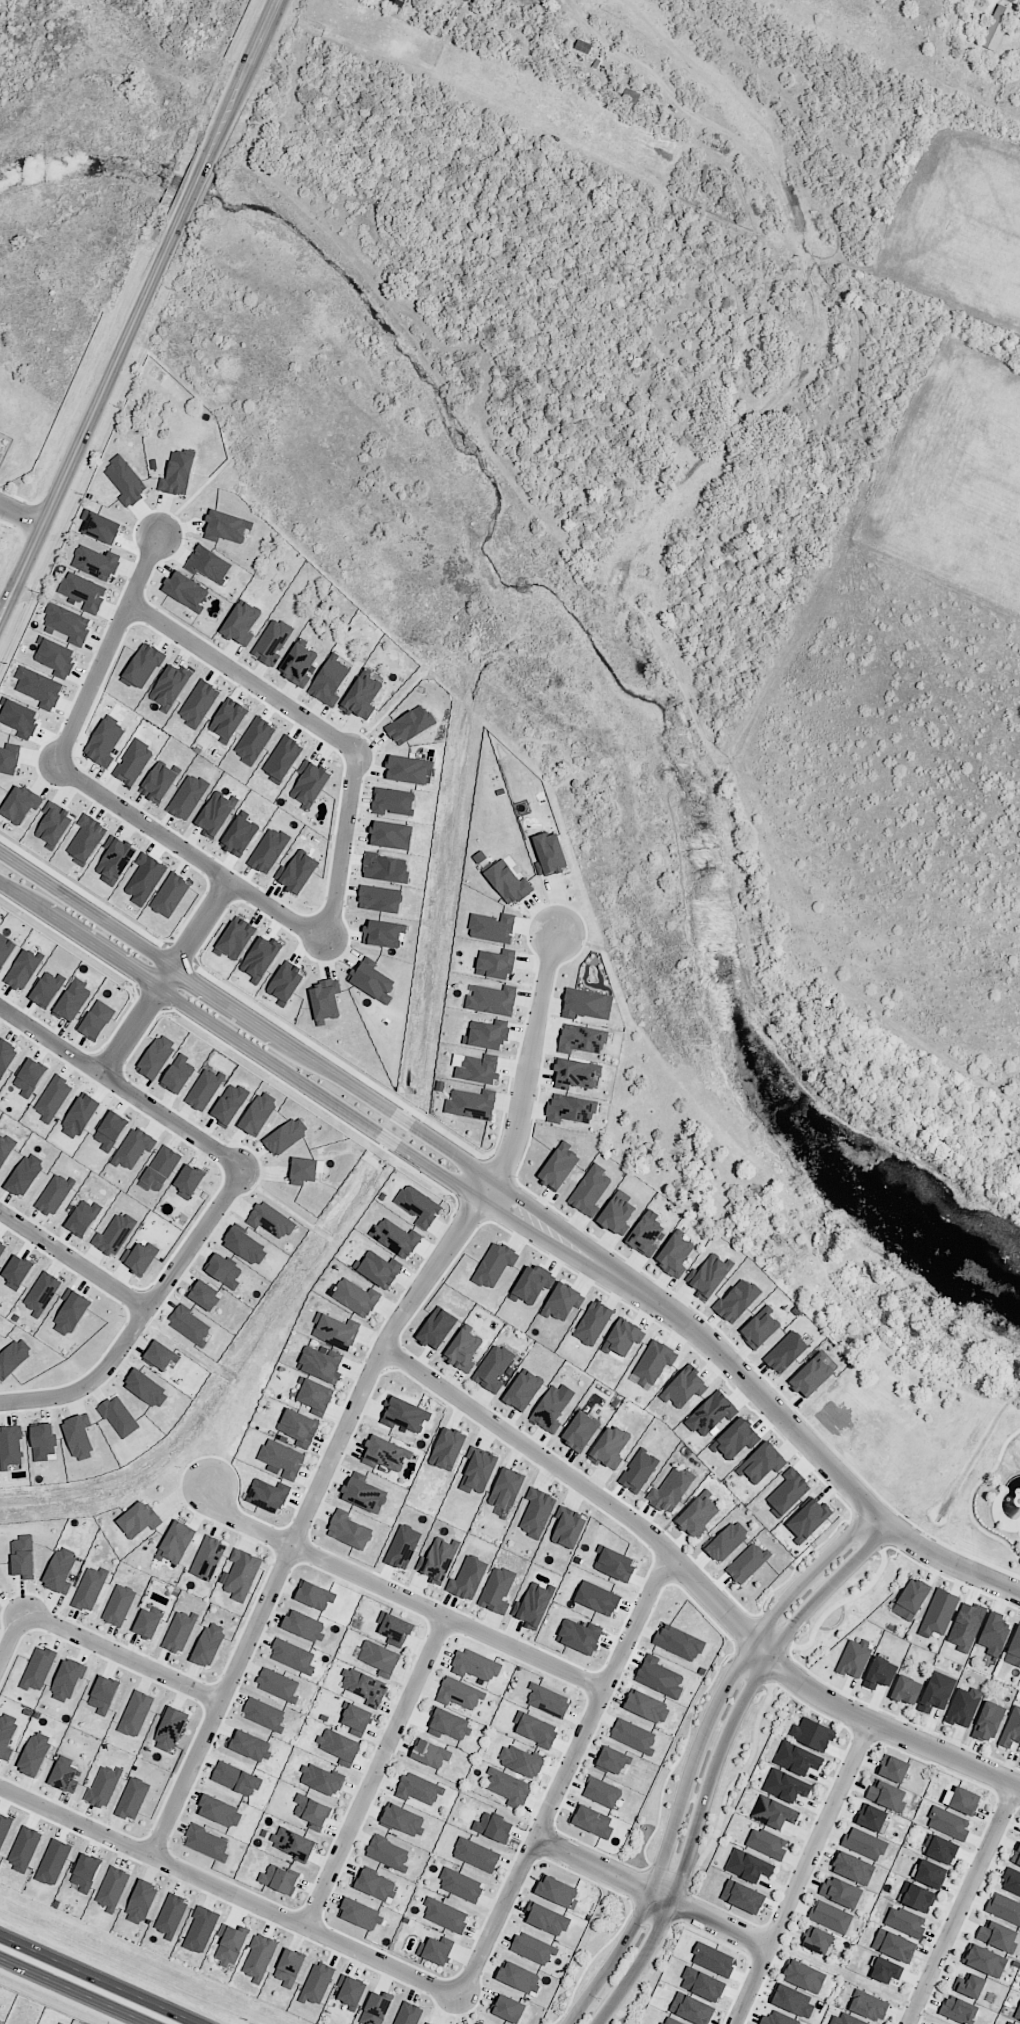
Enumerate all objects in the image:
building: (397, 3)
building: (996, 27)
building: (582, 46)
building: (630, 98)
road: (139, 310)
building: (177, 474)
building: (125, 481)
road: (21, 514)
building: (100, 526)
building: (226, 527)
building: (96, 562)
building: (209, 564)
building: (185, 590)
building: (83, 592)
building: (67, 623)
building: (242, 623)
building: (272, 642)
road: (107, 648)
building: (55, 656)
building: (298, 664)
building: (142, 666)
road: (244, 677)
building: (329, 680)
building: (39, 687)
building: (169, 687)
building: (361, 697)
building: (198, 703)
building: (20, 718)
building: (229, 719)
building: (408, 725)
building: (254, 740)
building: (104, 743)
building: (282, 759)
building: (8, 760)
building: (133, 762)
building: (406, 769)
building: (158, 782)
building: (309, 783)
building: (187, 797)
building: (393, 801)
building: (20, 804)
building: (215, 815)
building: (54, 824)
building: (391, 835)
building: (239, 836)
building: (86, 839)
building: (268, 850)
road: (345, 852)
building: (549, 854)
road: (193, 857)
building: (115, 859)
building: (385, 868)
building: (297, 872)
building: (145, 878)
building: (508, 882)
building: (170, 895)
building: (379, 898)
building: (492, 928)
building: (382, 933)
building: (236, 938)
building: (6, 949)
building: (260, 958)
building: (495, 964)
building: (22, 970)
road: (166, 977)
building: (371, 981)
building: (285, 983)
building: (47, 988)
building: (72, 1000)
building: (325, 1000)
building: (493, 1000)
building: (586, 1004)
building: (96, 1020)
building: (485, 1035)
building: (582, 1038)
building: (6, 1056)
building: (156, 1056)
building: (477, 1070)
building: (178, 1074)
building: (574, 1074)
building: (29, 1078)
road: (123, 1086)
building: (204, 1089)
building: (53, 1098)
building: (471, 1103)
building: (229, 1104)
building: (570, 1109)
building: (258, 1113)
building: (79, 1116)
building: (110, 1131)
building: (286, 1135)
building: (133, 1148)
building: (4, 1151)
building: (558, 1166)
building: (160, 1169)
building: (303, 1170)
building: (25, 1174)
building: (189, 1181)
building: (590, 1190)
building: (54, 1194)
building: (418, 1206)
building: (617, 1213)
road: (524, 1214)
building: (83, 1217)
building: (270, 1220)
building: (114, 1234)
building: (646, 1234)
building: (395, 1237)
building: (2, 1246)
building: (245, 1246)
building: (674, 1255)
building: (139, 1257)
road: (75, 1261)
building: (494, 1264)
building: (378, 1269)
building: (223, 1270)
building: (17, 1271)
building: (709, 1275)
building: (532, 1283)
building: (41, 1293)
building: (203, 1294)
building: (356, 1297)
building: (563, 1301)
building: (735, 1301)
building: (70, 1312)
road: (145, 1318)
building: (592, 1323)
building: (190, 1325)
building: (760, 1327)
building: (437, 1328)
building: (623, 1337)
building: (463, 1350)
building: (785, 1352)
building: (161, 1355)
building: (13, 1357)
building: (653, 1362)
building: (320, 1363)
building: (493, 1368)
building: (810, 1377)
building: (685, 1388)
building: (147, 1389)
building: (522, 1390)
road: (361, 1393)
building: (314, 1394)
building: (550, 1409)
building: (405, 1413)
building: (711, 1414)
building: (119, 1417)
building: (299, 1427)
building: (580, 1431)
building: (78, 1438)
building: (43, 1439)
building: (736, 1439)
building: (11, 1445)
building: (609, 1448)
building: (447, 1449)
building: (384, 1454)
building: (282, 1458)
building: (761, 1463)
building: (638, 1470)
building: (478, 1471)
building: (506, 1488)
building: (670, 1491)
building: (788, 1492)
building: (363, 1493)
building: (268, 1495)
building: (698, 1514)
building: (139, 1520)
building: (807, 1520)
building: (568, 1527)
building: (349, 1530)
building: (727, 1541)
building: (175, 1543)
building: (402, 1547)
building: (23, 1556)
building: (207, 1558)
building: (436, 1560)
building: (747, 1563)
building: (615, 1564)
building: (60, 1571)
building: (241, 1574)
building: (467, 1578)
road: (696, 1579)
building: (89, 1588)
building: (497, 1590)
road: (399, 1593)
building: (314, 1595)
building: (597, 1598)
building: (911, 1599)
building: (119, 1605)
building: (531, 1606)
building: (939, 1612)
building: (147, 1623)
building: (303, 1625)
building: (966, 1626)
building: (394, 1629)
building: (179, 1632)
building: (994, 1634)
road: (11, 1635)
building: (578, 1637)
building: (679, 1642)
building: (209, 1644)
building: (1014, 1649)
road: (122, 1656)
building: (292, 1656)
building: (378, 1657)
building: (854, 1658)
building: (475, 1664)
building: (38, 1668)
building: (880, 1673)
building: (659, 1677)
building: (67, 1680)
building: (364, 1684)
building: (277, 1685)
building: (906, 1690)
building: (936, 1692)
building: (459, 1693)
building: (103, 1695)
building: (547, 1700)
building: (647, 1706)
building: (962, 1708)
building: (135, 1713)
building: (264, 1714)
building: (357, 1719)
building: (988, 1721)
building: (449, 1724)
building: (1011, 1728)
building: (170, 1729)
building: (534, 1729)
building: (6, 1734)
building: (812, 1734)
building: (633, 1736)
building: (249, 1746)
building: (339, 1746)
road: (695, 1750)
building: (35, 1753)
building: (430, 1753)
road: (715, 1757)
building: (797, 1758)
building: (612, 1760)
building: (520, 1761)
building: (893, 1768)
road: (375, 1771)
road: (564, 1773)
building: (65, 1777)
building: (236, 1779)
building: (321, 1779)
building: (104, 1786)
building: (786, 1786)
building: (508, 1787)
building: (418, 1788)
building: (601, 1792)
building: (887, 1795)
building: (132, 1798)
building: (962, 1800)
building: (220, 1811)
building: (312, 1811)
building: (773, 1812)
building: (871, 1817)
building: (403, 1820)
building: (592, 1821)
building: (948, 1822)
building: (492, 1827)
building: (4, 1829)
building: (207, 1843)
building: (292, 1843)
building: (767, 1843)
building: (864, 1843)
building: (24, 1848)
building: (942, 1850)
building: (388, 1853)
building: (476, 1855)
building: (1016, 1855)
building: (53, 1862)
building: (748, 1866)
building: (852, 1868)
building: (85, 1873)
road: (802, 1873)
building: (930, 1874)
building: (278, 1879)
building: (1011, 1881)
building: (374, 1884)
building: (461, 1885)
building: (112, 1888)
building: (556, 1891)
road: (229, 1892)
building: (840, 1892)
road: (651, 1893)
building: (917, 1897)
building: (141, 1902)
road: (962, 1904)
building: (1004, 1907)
building: (170, 1914)
building: (360, 1914)
building: (445, 1915)
building: (830, 1916)
building: (548, 1919)
building: (905, 1920)
building: (200, 1930)
building: (998, 1936)
building: (816, 1940)
building: (230, 1945)
building: (894, 1945)
building: (532, 1948)
building: (435, 1951)
building: (259, 1957)
building: (984, 1960)
building: (289, 1968)
building: (886, 1970)
building: (804, 1976)
building: (519, 1977)
building: (317, 1983)
building: (702, 1984)
road: (86, 1985)
building: (969, 1985)
building: (349, 1990)
building: (869, 2005)
building: (508, 2008)
building: (691, 2008)
building: (375, 2009)
building: (958, 2010)
building: (408, 2014)
building: (1017, 2014)
building: (779, 2019)
building: (851, 2020)
building: (670, 2021)
building: (0, 2022)
building: (427, 2023)
building: (482, 2023)
building: (934, 2023)
building: (1009, 2023)

